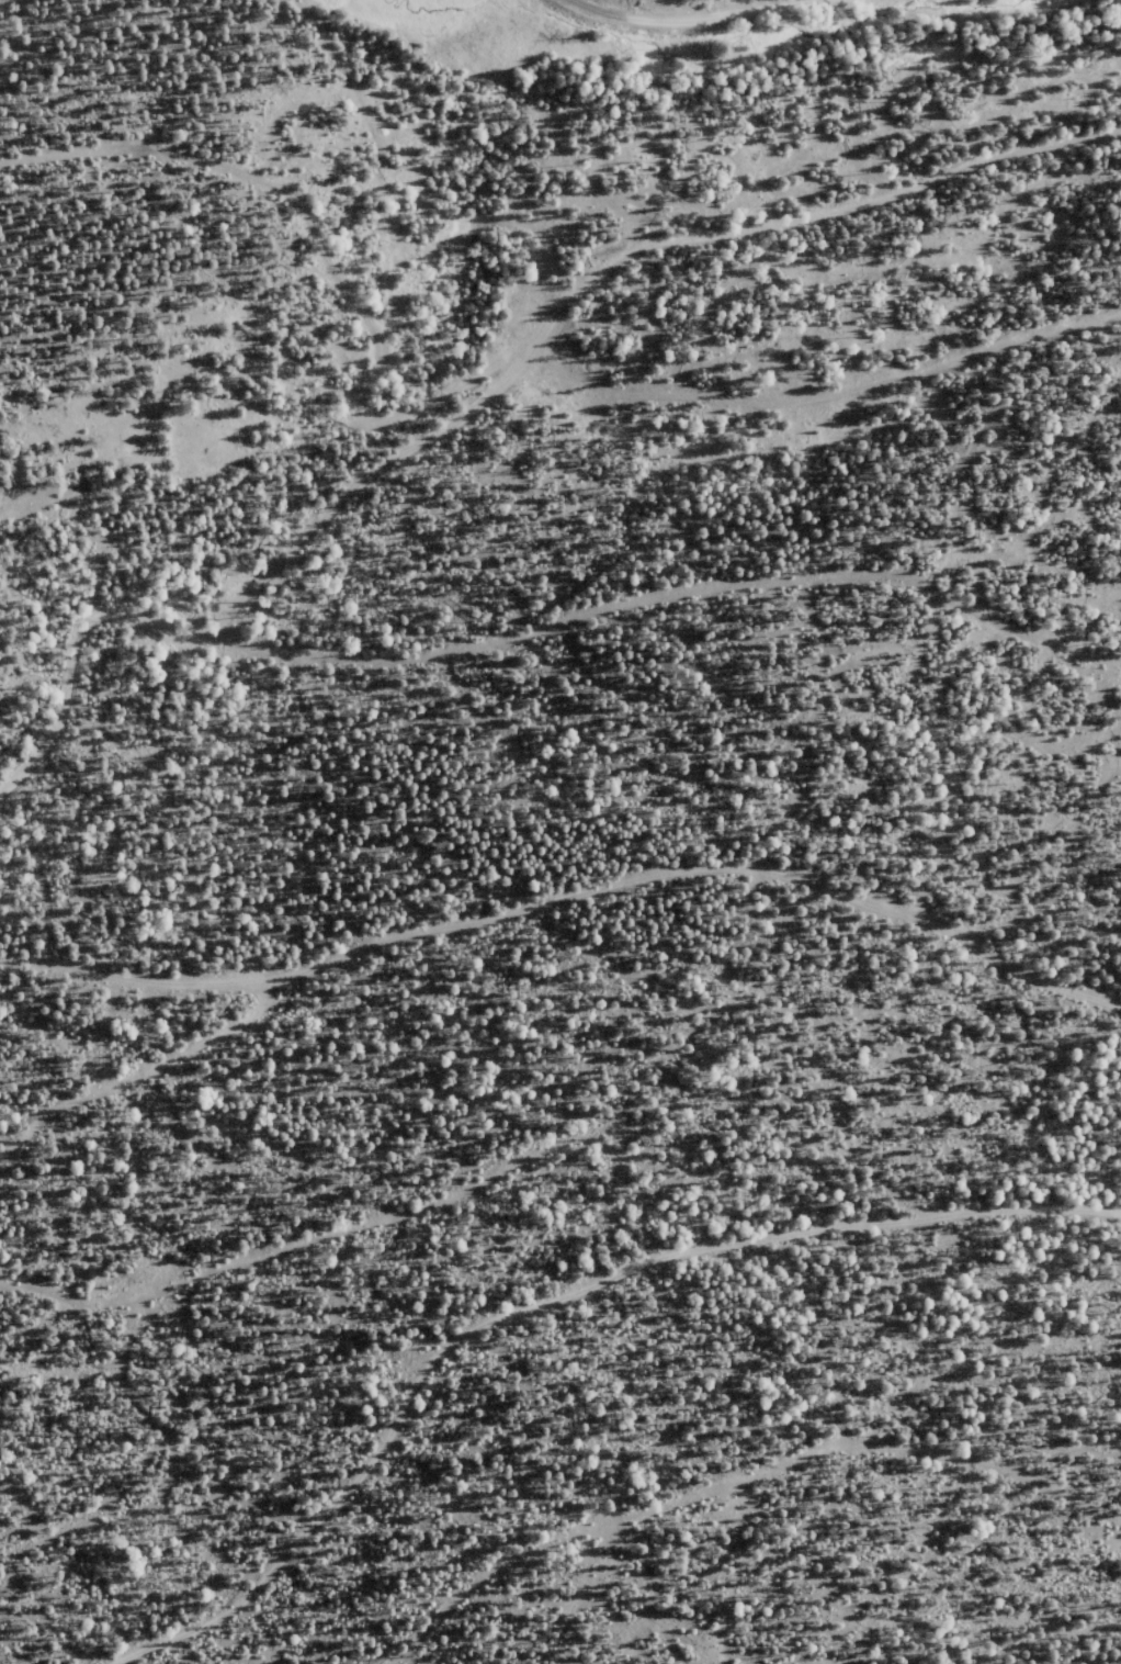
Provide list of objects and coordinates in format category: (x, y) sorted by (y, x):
road: (502, 445)
road: (208, 1030)

